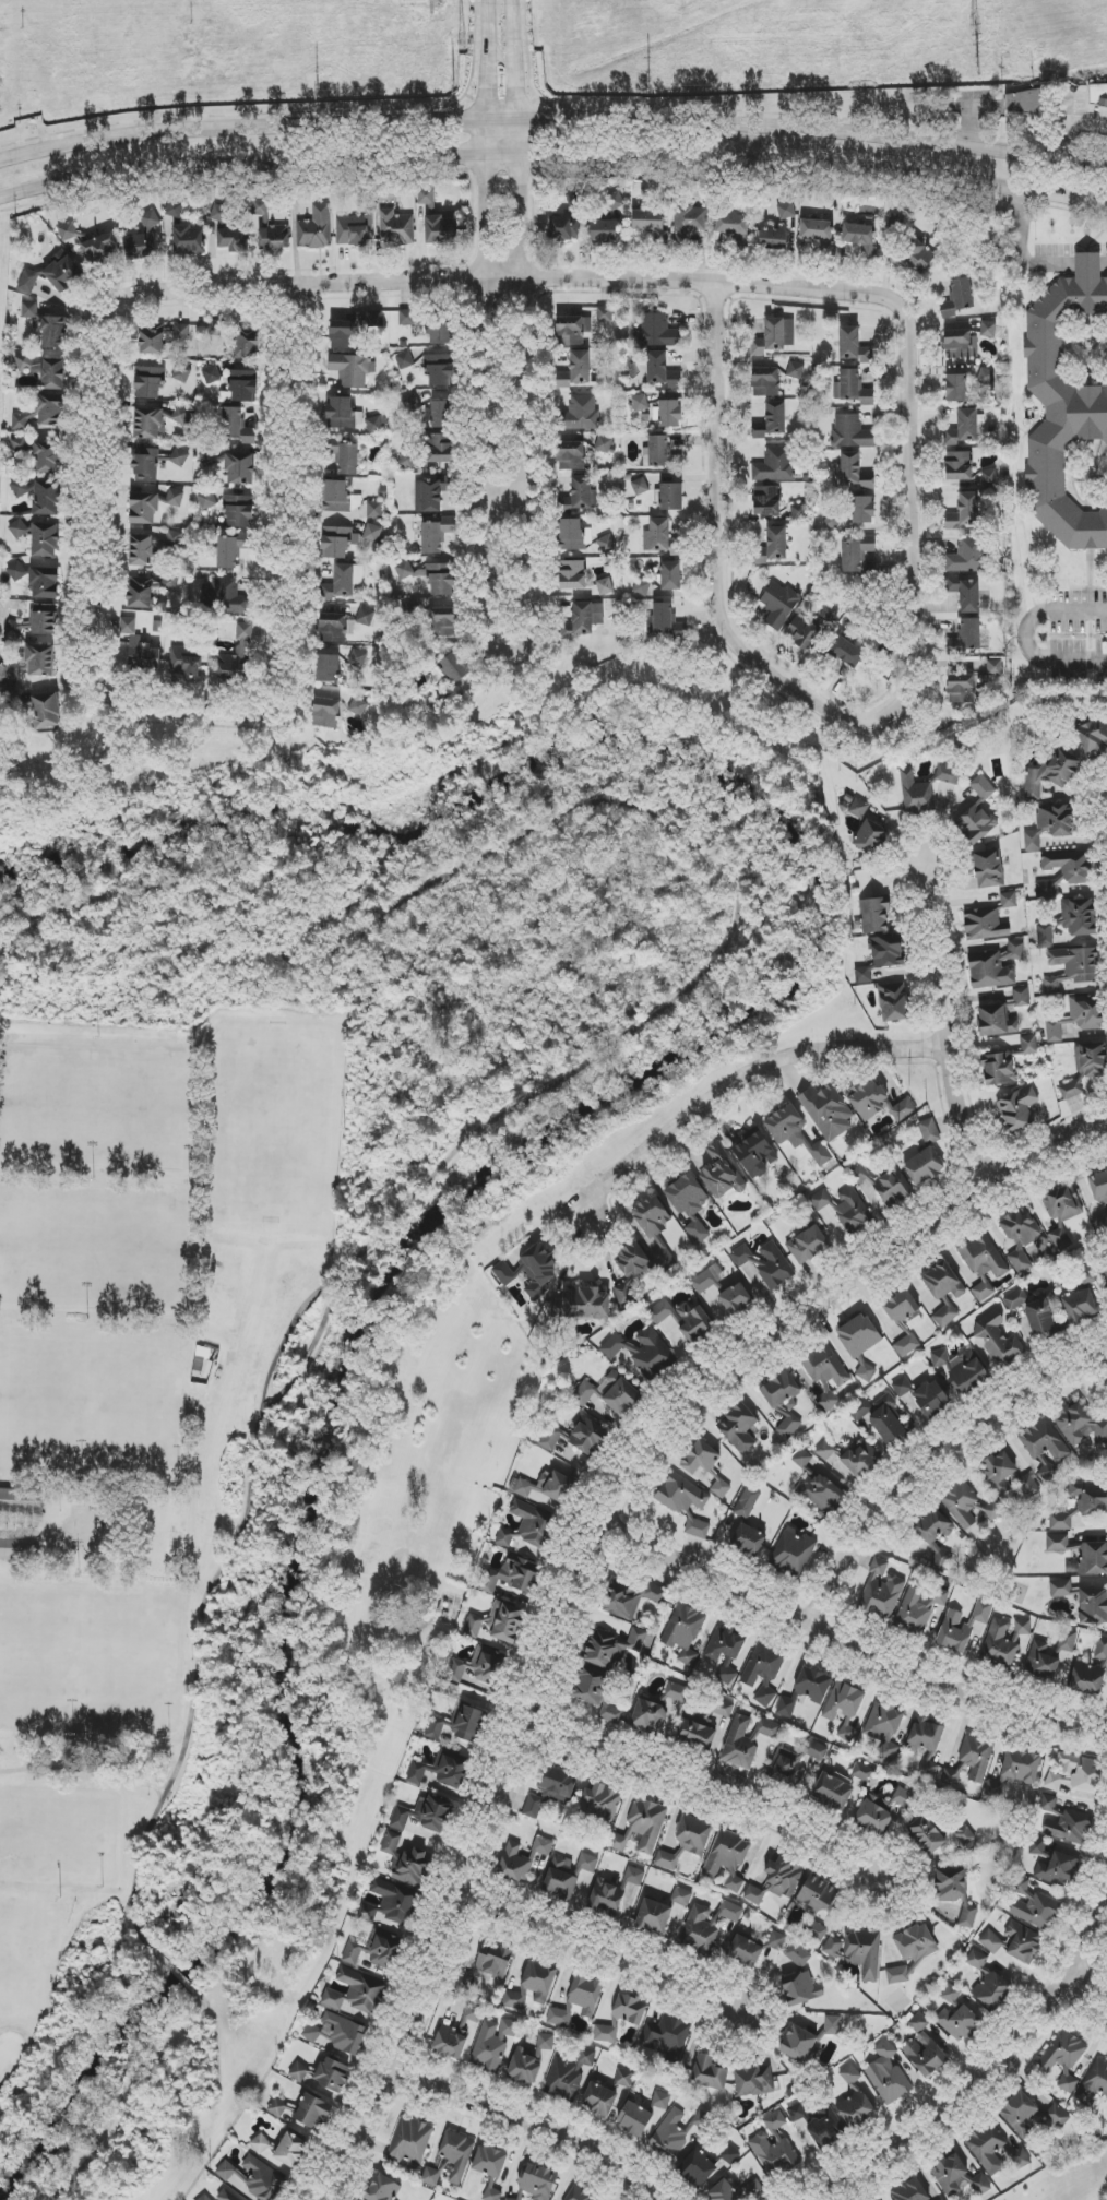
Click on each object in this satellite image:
power tower: (978, 29)
power tower: (462, 43)
power tower: (978, 67)
power tower: (651, 79)
power tower: (454, 86)
power tower: (318, 91)
building: (1098, 98)
building: (1023, 103)
road: (553, 119)
road: (967, 124)
road: (1067, 124)
road: (552, 154)
building: (426, 198)
building: (175, 210)
building: (786, 211)
building: (219, 213)
building: (150, 219)
building: (896, 221)
building: (689, 222)
building: (648, 223)
building: (395, 227)
building: (734, 227)
building: (563, 228)
building: (316, 229)
building: (440, 230)
building: (816, 230)
building: (68, 231)
building: (603, 231)
building: (274, 238)
building: (860, 238)
building: (189, 239)
building: (773, 239)
building: (234, 240)
building: (140, 246)
building: (100, 249)
road: (1019, 250)
building: (918, 257)
road: (1087, 260)
road: (1104, 261)
building: (50, 276)
road: (500, 276)
building: (957, 298)
building: (29, 310)
building: (605, 314)
building: (412, 318)
building: (353, 330)
building: (573, 330)
building: (988, 330)
building: (181, 332)
building: (658, 332)
building: (55, 333)
building: (440, 334)
building: (774, 336)
building: (152, 340)
building: (962, 344)
building: (247, 345)
building: (853, 346)
building: (404, 359)
building: (353, 370)
building: (439, 370)
building: (575, 370)
building: (795, 370)
building: (45, 371)
building: (662, 371)
building: (182, 373)
building: (211, 374)
building: (986, 377)
building: (150, 382)
building: (765, 382)
building: (243, 387)
building: (956, 388)
building: (852, 389)
building: (412, 403)
building: (640, 403)
building: (1070, 407)
building: (43, 413)
building: (582, 413)
building: (341, 414)
building: (441, 414)
building: (670, 414)
building: (184, 417)
building: (771, 421)
building: (150, 424)
building: (967, 424)
building: (376, 425)
building: (236, 427)
building: (850, 432)
building: (20, 444)
building: (604, 444)
building: (441, 449)
building: (658, 450)
building: (49, 454)
building: (572, 456)
building: (179, 457)
building: (207, 457)
building: (348, 460)
building: (407, 461)
building: (145, 465)
building: (776, 465)
building: (960, 467)
building: (240, 468)
building: (848, 469)
building: (989, 478)
building: (640, 486)
road: (507, 491)
building: (583, 493)
building: (430, 495)
building: (41, 497)
building: (671, 497)
building: (175, 498)
building: (340, 498)
building: (766, 500)
building: (207, 501)
building: (144, 509)
building: (374, 510)
building: (861, 510)
building: (239, 511)
building: (799, 511)
building: (964, 511)
building: (833, 521)
road: (1020, 524)
building: (20, 530)
building: (373, 534)
building: (436, 535)
building: (572, 535)
building: (657, 536)
building: (45, 539)
building: (337, 542)
building: (607, 544)
building: (773, 546)
building: (141, 550)
building: (231, 550)
building: (856, 554)
building: (968, 556)
building: (17, 571)
building: (572, 575)
building: (431, 576)
building: (671, 576)
building: (344, 581)
building: (45, 583)
building: (605, 586)
building: (642, 587)
building: (148, 590)
building: (964, 593)
building: (227, 598)
building: (778, 605)
building: (829, 615)
building: (366, 617)
building: (585, 618)
building: (35, 622)
building: (442, 622)
building: (665, 622)
building: (335, 627)
building: (801, 633)
road: (1023, 633)
building: (967, 638)
building: (139, 647)
road: (509, 650)
building: (846, 652)
building: (236, 655)
building: (358, 658)
building: (186, 662)
building: (33, 664)
building: (455, 667)
building: (995, 667)
building: (329, 668)
building: (961, 689)
road: (200, 703)
building: (358, 707)
building: (46, 711)
road: (832, 712)
building: (325, 713)
building: (1093, 736)
building: (1051, 773)
building: (948, 775)
building: (981, 788)
building: (916, 795)
building: (859, 809)
building: (975, 824)
building: (1050, 825)
building: (871, 837)
building: (988, 869)
building: (1063, 871)
building: (1009, 900)
building: (874, 916)
road: (24, 919)
building: (1070, 920)
building: (985, 925)
building: (882, 956)
road: (2, 967)
building: (995, 967)
building: (1073, 968)
building: (1020, 997)
building: (894, 1003)
building: (1078, 1018)
building: (997, 1021)
road: (937, 1022)
building: (1028, 1045)
road: (606, 1048)
building: (1091, 1060)
building: (1000, 1068)
road: (735, 1082)
building: (1071, 1090)
building: (878, 1102)
building: (1017, 1108)
building: (826, 1111)
building: (786, 1127)
building: (929, 1131)
building: (754, 1153)
building: (820, 1154)
building: (924, 1167)
building: (721, 1173)
building: (888, 1186)
building: (1098, 1186)
building: (820, 1200)
building: (689, 1203)
building: (853, 1211)
building: (1062, 1213)
building: (1100, 1224)
building: (653, 1229)
building: (1020, 1236)
building: (808, 1242)
building: (764, 1263)
building: (983, 1264)
building: (1106, 1267)
building: (631, 1270)
building: (531, 1272)
building: (1086, 1276)
building: (707, 1280)
building: (943, 1282)
building: (736, 1299)
building: (1015, 1299)
park: (306, 1303)
building: (582, 1305)
building: (1082, 1306)
building: (660, 1311)
building: (945, 1316)
building: (1041, 1317)
building: (901, 1319)
building: (692, 1322)
building: (999, 1340)
building: (859, 1343)
road: (284, 1345)
building: (616, 1346)
building: (651, 1355)
building: (962, 1370)
building: (824, 1375)
building: (902, 1387)
building: (782, 1391)
building: (610, 1393)
building: (931, 1399)
building: (889, 1420)
building: (1080, 1424)
building: (738, 1427)
building: (788, 1427)
building: (576, 1437)
building: (1045, 1441)
road: (920, 1448)
building: (824, 1450)
building: (700, 1458)
building: (860, 1459)
building: (1047, 1471)
building: (1008, 1474)
building: (816, 1485)
building: (548, 1488)
building: (681, 1495)
building: (1090, 1497)
building: (21, 1500)
building: (747, 1502)
building: (969, 1506)
building: (1060, 1521)
building: (529, 1526)
building: (697, 1529)
building: (935, 1534)
building: (749, 1539)
building: (1057, 1543)
building: (20, 1549)
building: (794, 1550)
road: (587, 1555)
building: (1093, 1558)
building: (511, 1577)
building: (1060, 1589)
building: (881, 1593)
building: (632, 1600)
building: (1093, 1606)
building: (919, 1609)
building: (497, 1624)
building: (962, 1627)
building: (683, 1632)
building: (1067, 1640)
building: (1002, 1643)
road: (845, 1645)
building: (612, 1648)
building: (725, 1651)
building: (1043, 1662)
building: (479, 1667)
building: (1092, 1672)
building: (763, 1673)
building: (806, 1691)
building: (676, 1692)
building: (599, 1693)
building: (843, 1701)
building: (722, 1709)
building: (648, 1715)
building: (468, 1724)
building: (435, 1728)
building: (767, 1728)
building: (884, 1728)
building: (697, 1731)
building: (926, 1736)
building: (740, 1741)
building: (977, 1755)
building: (795, 1762)
building: (930, 1768)
road: (83, 1770)
building: (440, 1771)
building: (1014, 1772)
building: (862, 1773)
building: (1076, 1774)
building: (952, 1776)
building: (551, 1789)
building: (834, 1789)
road: (709, 1793)
building: (602, 1803)
building: (882, 1810)
building: (422, 1815)
building: (1063, 1823)
building: (642, 1826)
building: (926, 1834)
building: (964, 1836)
building: (687, 1842)
building: (727, 1858)
building: (522, 1859)
building: (405, 1863)
building: (586, 1864)
building: (1057, 1869)
building: (560, 1879)
building: (777, 1881)
building: (612, 1892)
building: (955, 1892)
building: (681, 1896)
building: (396, 1903)
building: (816, 1904)
building: (1034, 1906)
building: (730, 1911)
building: (654, 1916)
building: (703, 1928)
building: (776, 1941)
building: (1014, 1942)
building: (916, 1943)
building: (376, 1951)
road: (605, 1951)
building: (745, 1951)
building: (857, 1951)
building: (798, 1955)
building: (976, 1960)
building: (487, 1967)
building: (897, 1975)
road: (179, 1979)
building: (533, 1986)
building: (801, 1988)
building: (991, 1988)
road: (1081, 1991)
building: (356, 1994)
building: (585, 1995)
building: (630, 2009)
building: (559, 2015)
building: (960, 2023)
building: (833, 2025)
building: (337, 2033)
building: (456, 2033)
building: (605, 2034)
building: (666, 2037)
building: (545, 2043)
building: (798, 2044)
building: (492, 2045)
building: (924, 2048)
building: (1064, 2057)
road: (985, 2061)
building: (525, 2066)
building: (298, 2071)
building: (709, 2072)
road: (138, 2073)
building: (332, 2074)
building: (568, 2074)
building: (849, 2074)
building: (888, 2074)
building: (623, 2078)
building: (750, 2081)
building: (1093, 2084)
building: (599, 2100)
building: (660, 2101)
building: (281, 2108)
building: (856, 2109)
building: (798, 2113)
building: (312, 2114)
building: (1029, 2114)
building: (634, 2119)
building: (775, 2122)
road: (527, 2126)
building: (677, 2131)
building: (824, 2131)
building: (410, 2141)
building: (988, 2147)
building: (284, 2149)
building: (728, 2154)
building: (774, 2154)
building: (456, 2155)
building: (489, 2162)
building: (698, 2168)
building: (956, 2174)
building: (432, 2177)
building: (254, 2179)
park: (1066, 2180)
building: (538, 2181)
building: (383, 2189)
building: (754, 2189)
building: (909, 2190)
building: (723, 2192)
building: (581, 2193)
building: (225, 2196)
building: (204, 2198)
building: (510, 2199)
building: (940, 2199)

